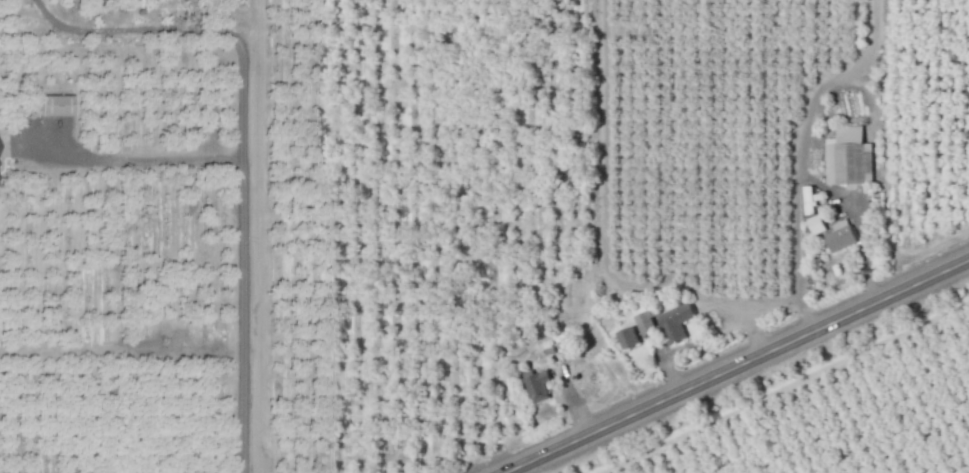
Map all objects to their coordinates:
building: (53, 105)
road: (243, 146)
building: (845, 156)
road: (122, 163)
road: (802, 179)
building: (839, 236)
building: (641, 320)
building: (673, 323)
building: (625, 337)
road: (734, 365)
building: (536, 386)

